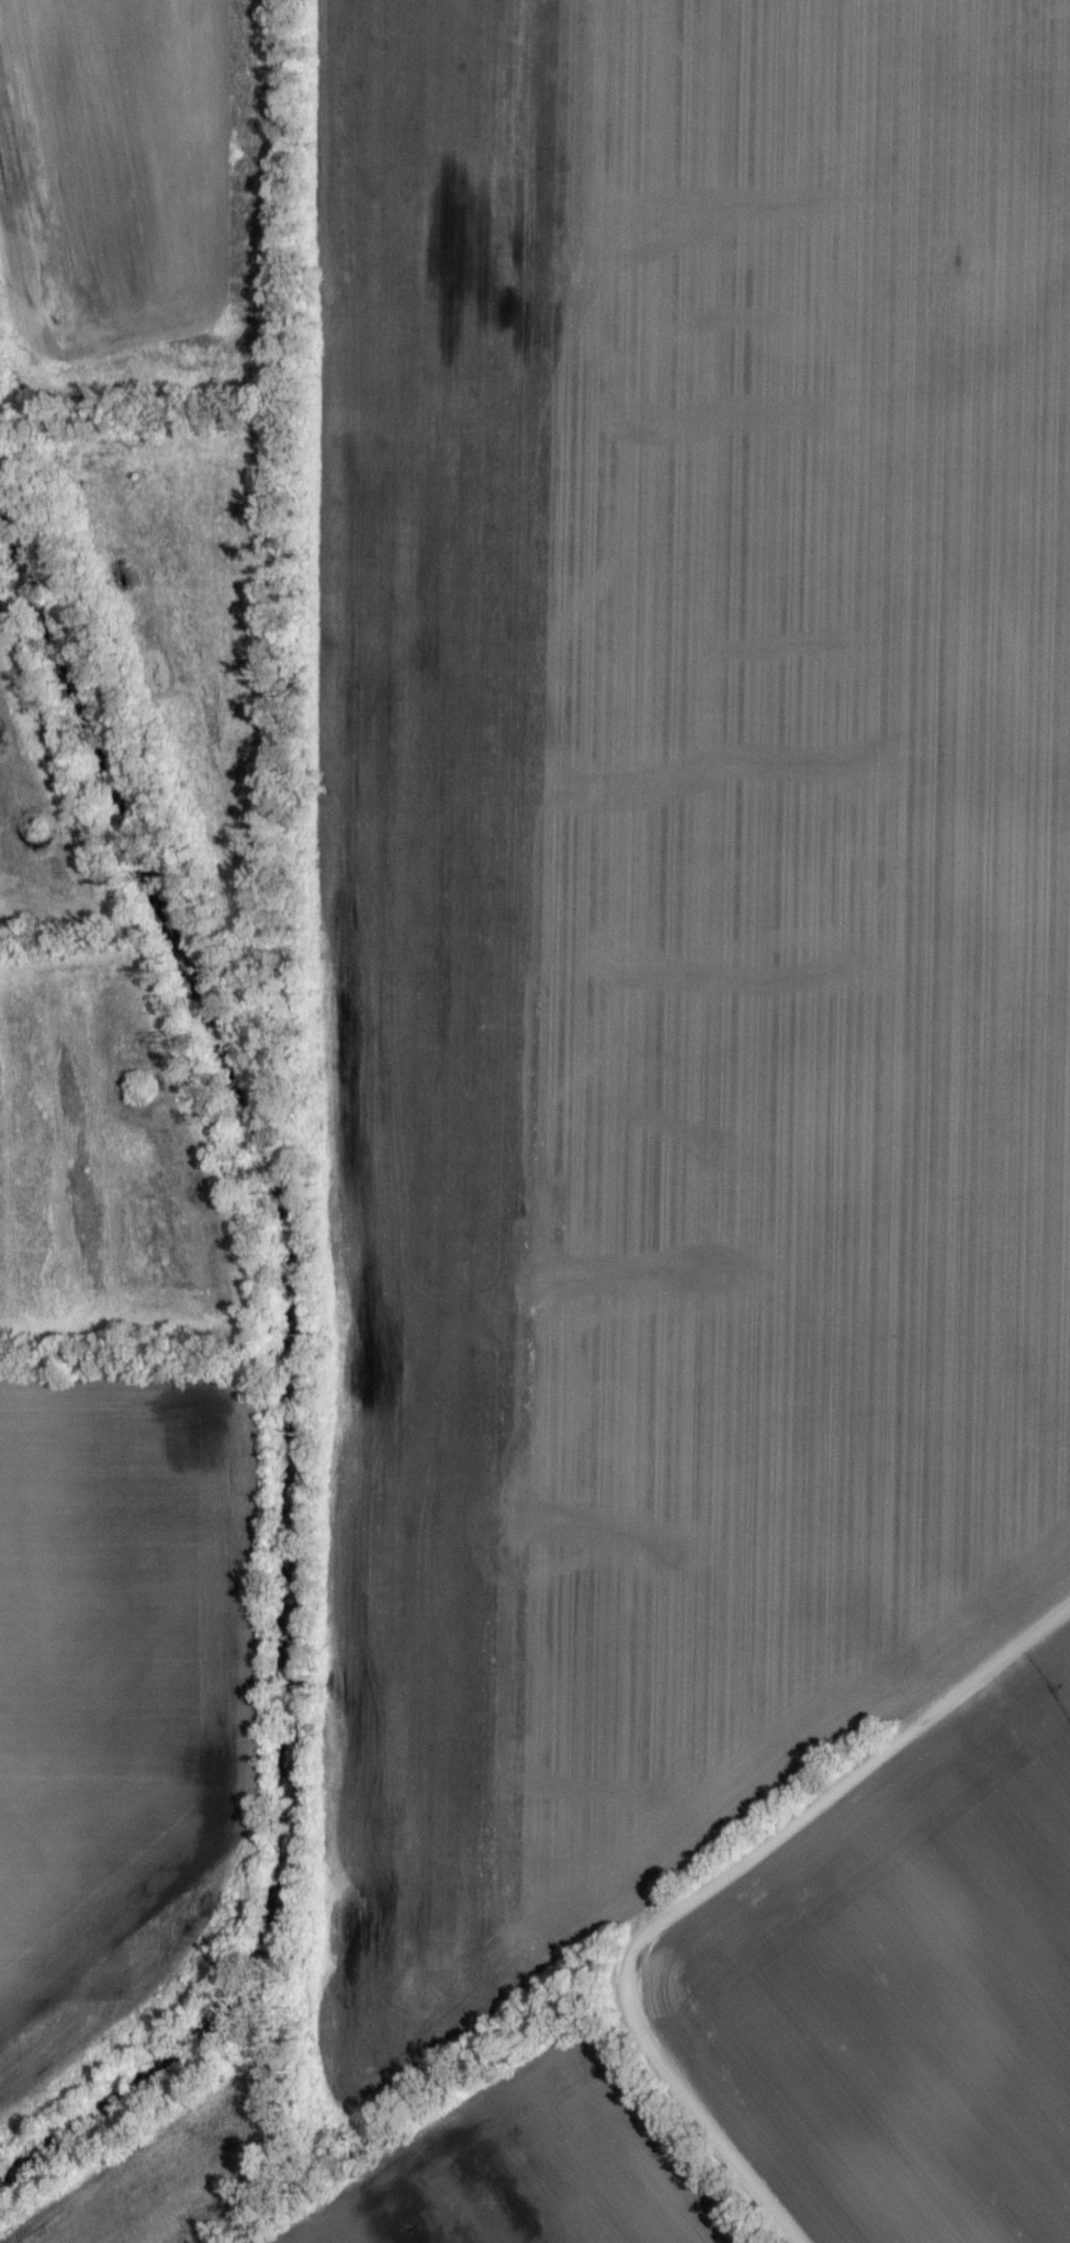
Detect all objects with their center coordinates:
road: (714, 1889)

